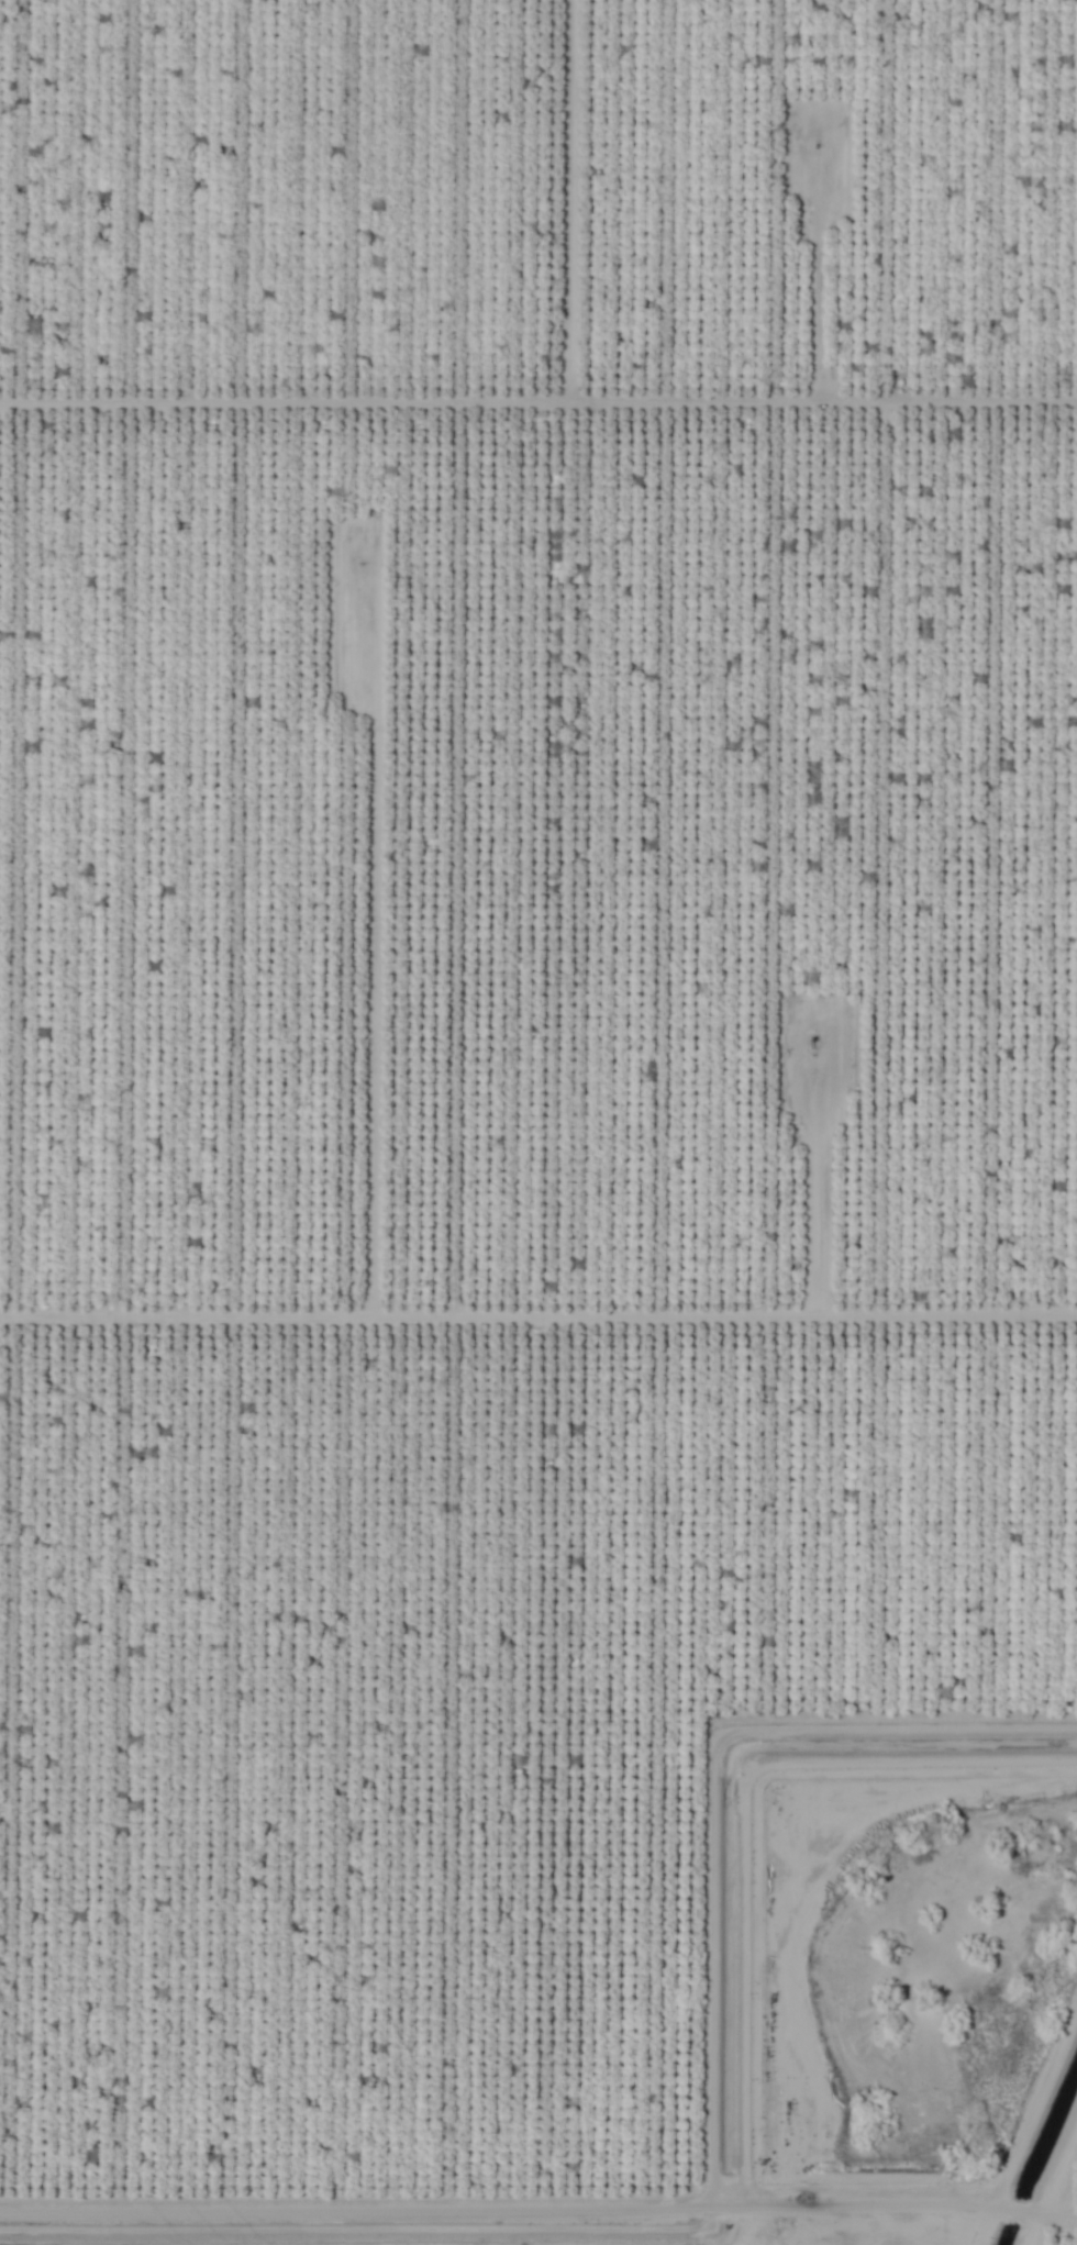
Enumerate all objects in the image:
road: (538, 2224)

